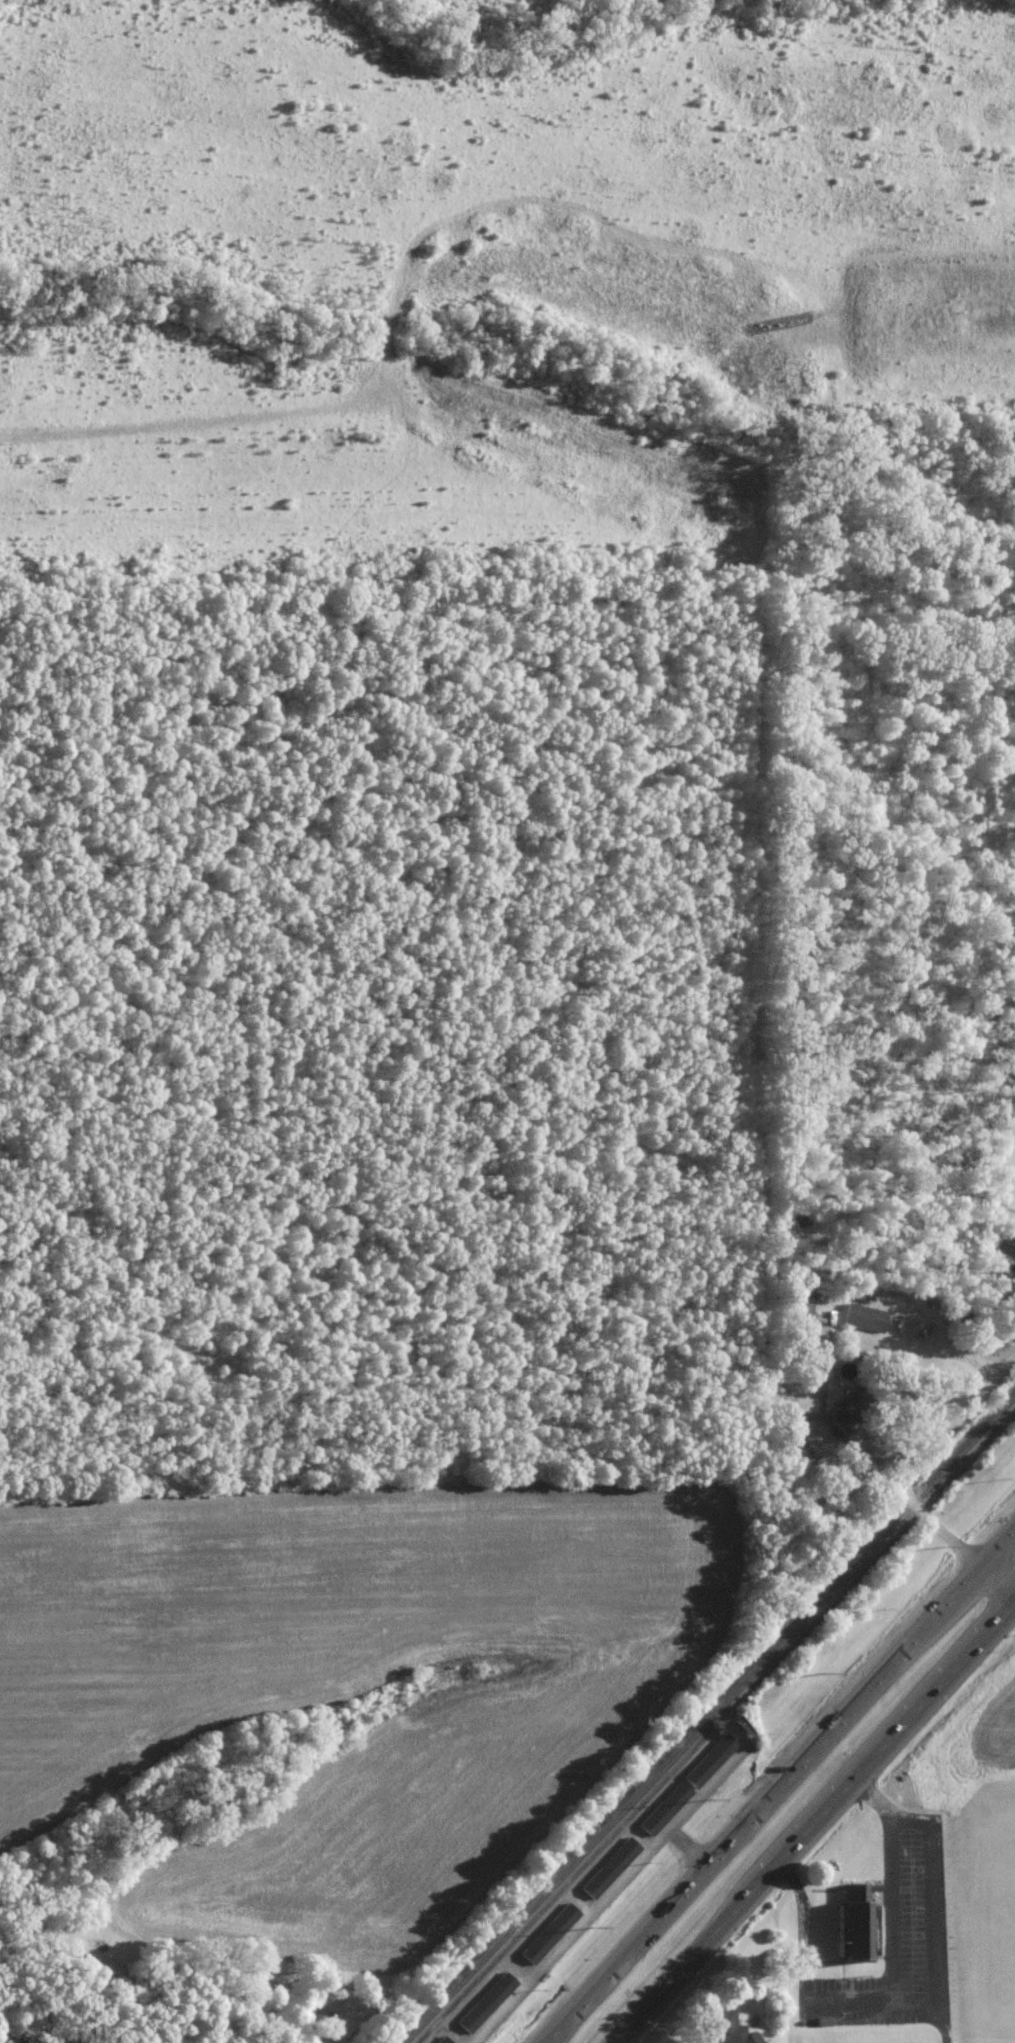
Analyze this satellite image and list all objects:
building: (1013, 1242)
building: (802, 1306)
building: (865, 1317)
road: (954, 1351)
building: (853, 1408)
building: (794, 1430)
road: (832, 1432)
road: (923, 1463)
road: (1000, 1577)
road: (893, 1663)
railway: (712, 1714)
road: (894, 1734)
building: (710, 1761)
building: (665, 1809)
building: (610, 1868)
road: (937, 1911)
road: (660, 1919)
building: (858, 1922)
building: (550, 1933)
road: (693, 1954)
building: (487, 2002)
road: (891, 2004)
road: (917, 2006)
building: (731, 2028)
building: (441, 2041)

